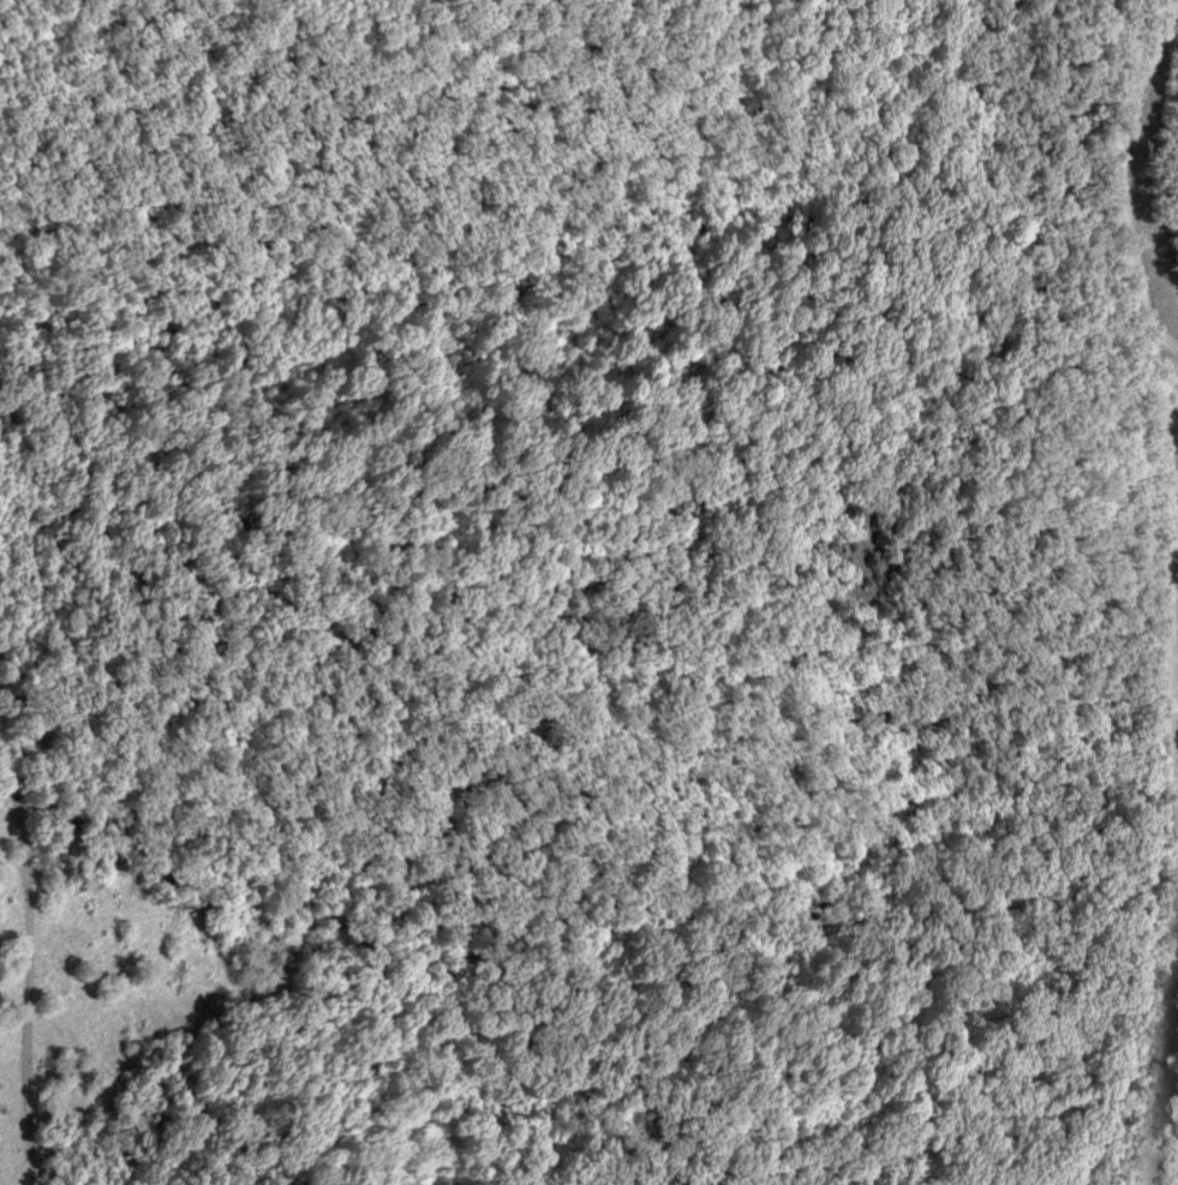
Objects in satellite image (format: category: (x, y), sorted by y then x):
road: (1083, 346)
road: (1130, 371)
road: (1173, 1172)

